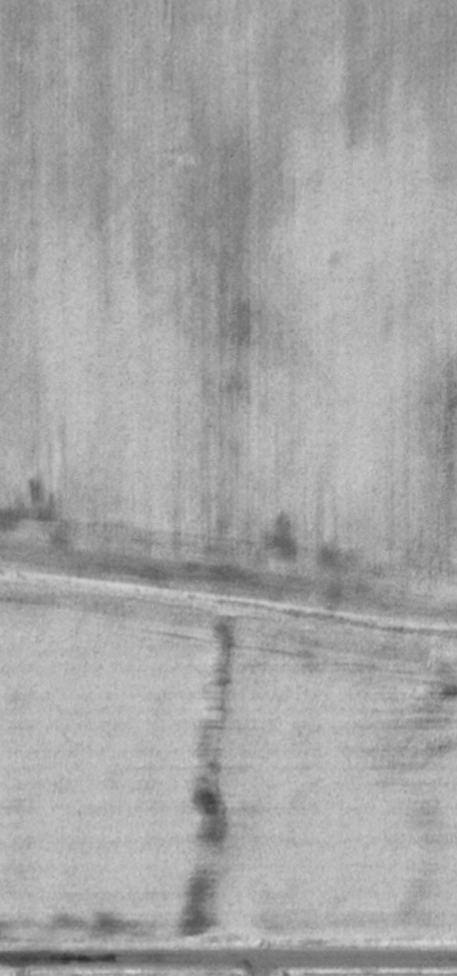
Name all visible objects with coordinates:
road: (228, 961)
road: (257, 969)

